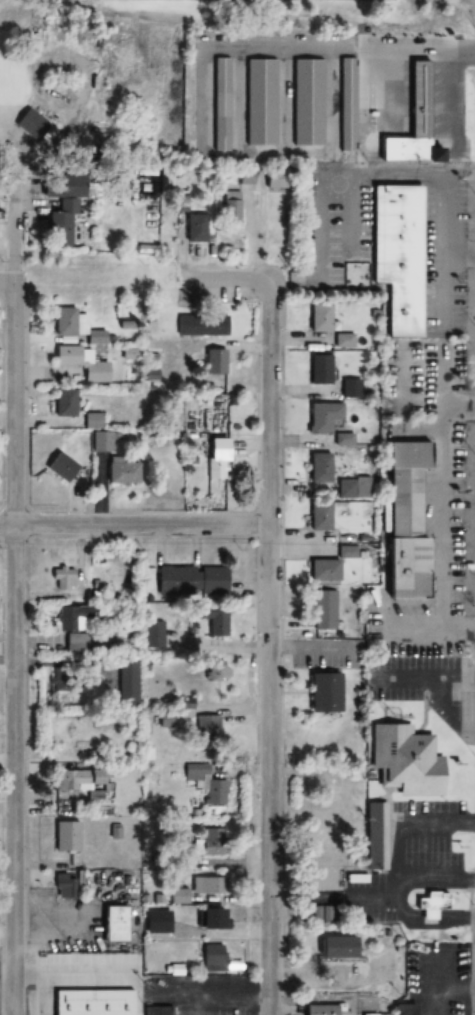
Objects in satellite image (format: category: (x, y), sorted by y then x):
road: (474, 1)
road: (394, 52)
building: (260, 102)
building: (307, 102)
building: (221, 104)
building: (346, 104)
building: (418, 116)
building: (30, 124)
building: (275, 179)
building: (230, 205)
building: (59, 224)
road: (11, 240)
road: (458, 250)
building: (396, 255)
road: (228, 281)
road: (6, 282)
road: (441, 302)
building: (319, 317)
building: (201, 324)
building: (74, 325)
building: (342, 340)
building: (215, 358)
building: (81, 362)
building: (319, 368)
building: (349, 388)
building: (64, 403)
road: (459, 410)
building: (323, 417)
building: (92, 420)
building: (100, 441)
building: (217, 451)
building: (60, 467)
building: (319, 468)
building: (122, 471)
building: (319, 518)
road: (442, 520)
building: (403, 522)
road: (135, 525)
building: (323, 570)
building: (62, 579)
building: (174, 581)
building: (210, 581)
building: (324, 607)
building: (213, 621)
building: (71, 626)
road: (431, 629)
building: (153, 634)
road: (271, 647)
road: (15, 648)
building: (217, 670)
building: (127, 682)
building: (324, 692)
building: (168, 720)
building: (207, 728)
building: (75, 752)
building: (404, 760)
building: (75, 779)
building: (215, 793)
building: (66, 836)
building: (377, 837)
building: (213, 841)
building: (68, 883)
building: (208, 885)
building: (431, 905)
building: (118, 917)
building: (210, 919)
building: (158, 922)
road: (471, 943)
building: (334, 948)
road: (281, 953)
building: (213, 958)
building: (126, 1006)
building: (318, 1010)
building: (156, 1011)
building: (375, 1014)

